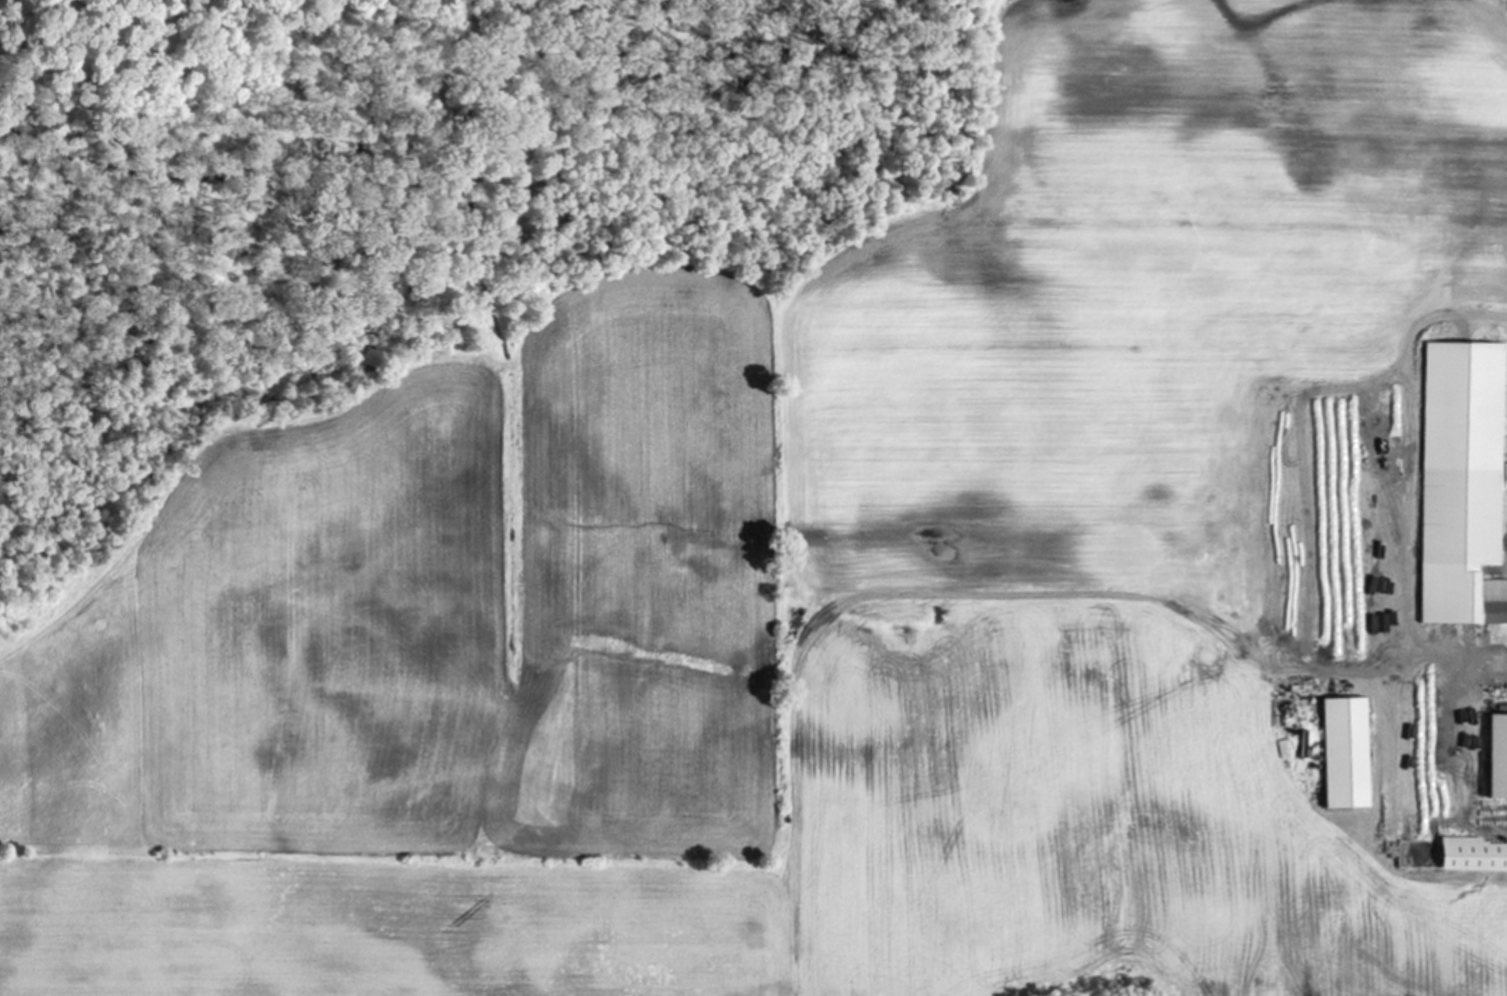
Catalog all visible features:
building: (1465, 485)
building: (1284, 749)
building: (1348, 754)
building: (1499, 758)
building: (1474, 855)

